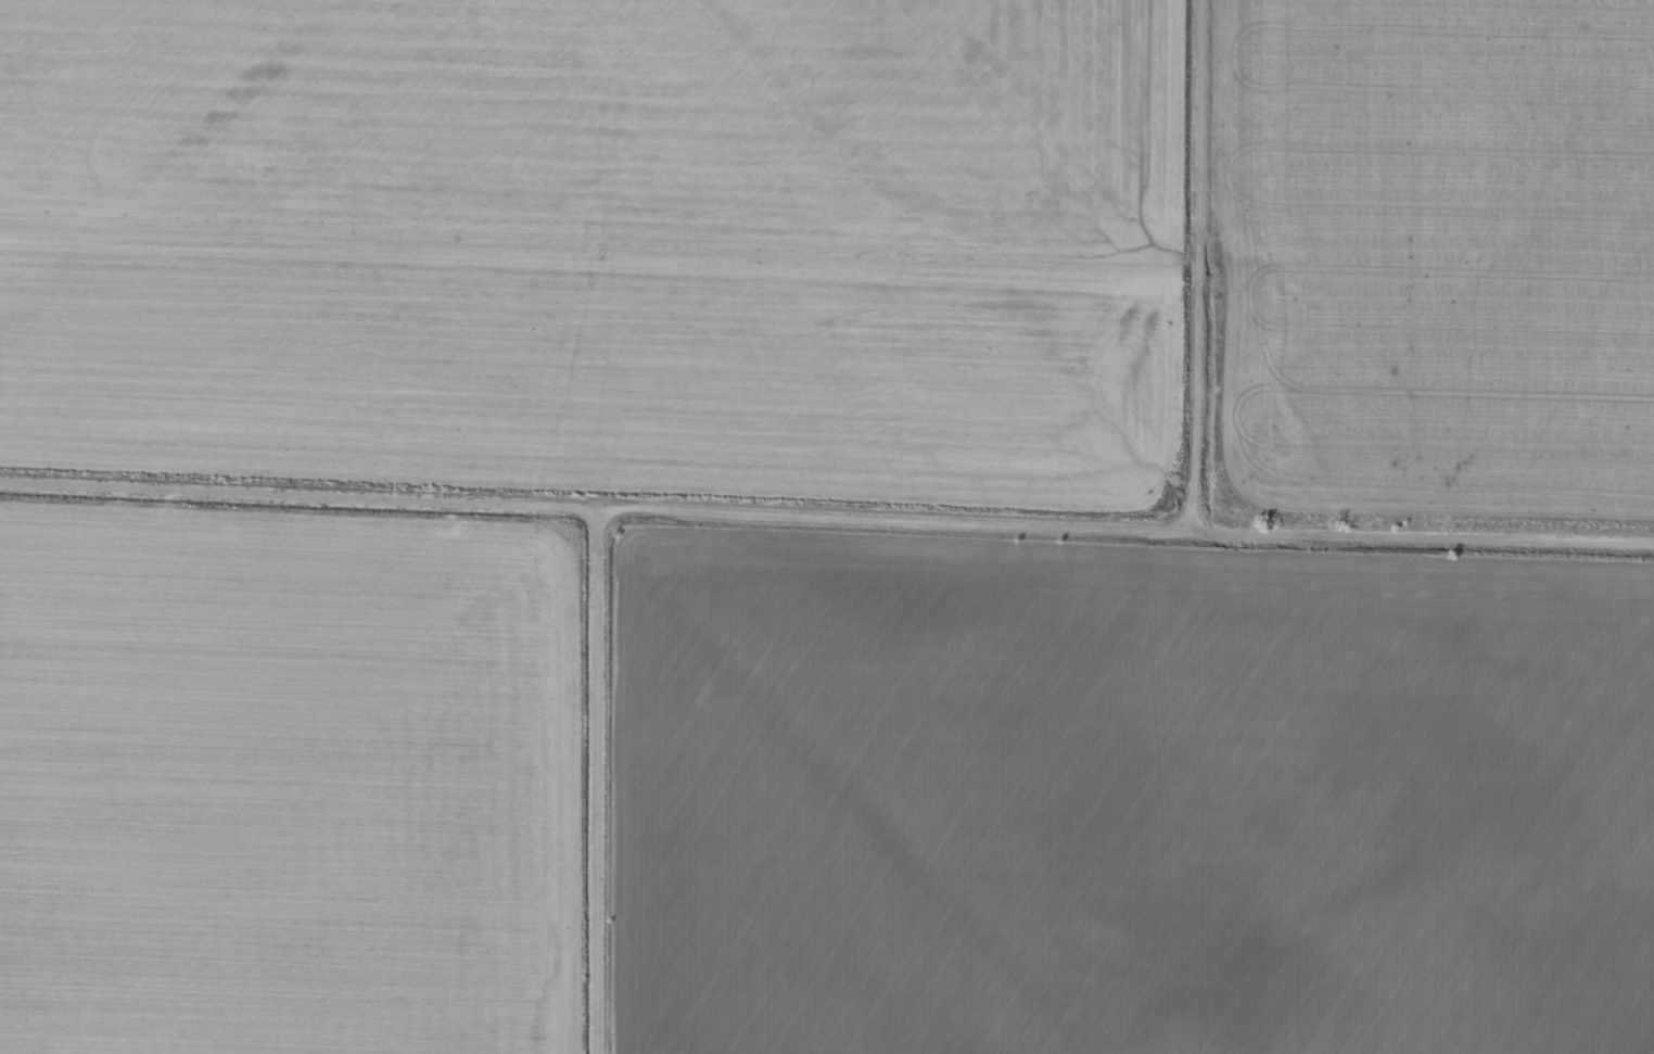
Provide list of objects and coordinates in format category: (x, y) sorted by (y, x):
road: (1205, 264)
road: (826, 513)
road: (602, 778)

